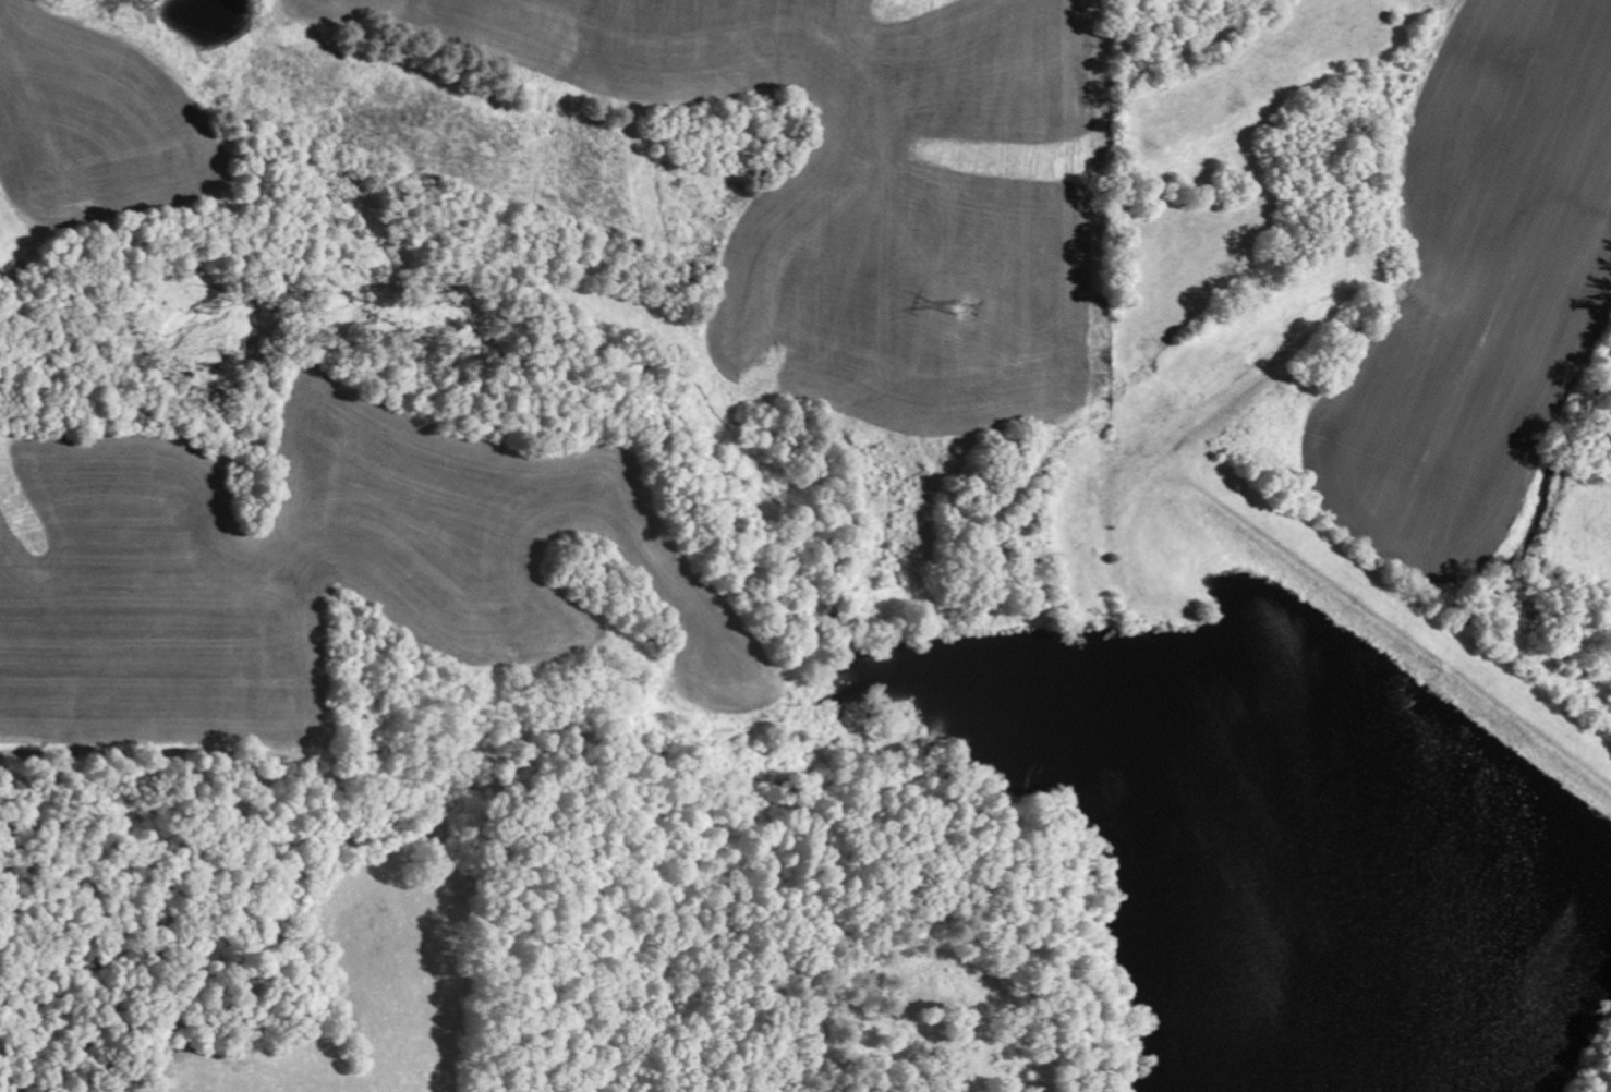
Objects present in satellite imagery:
power tower: (964, 300)

